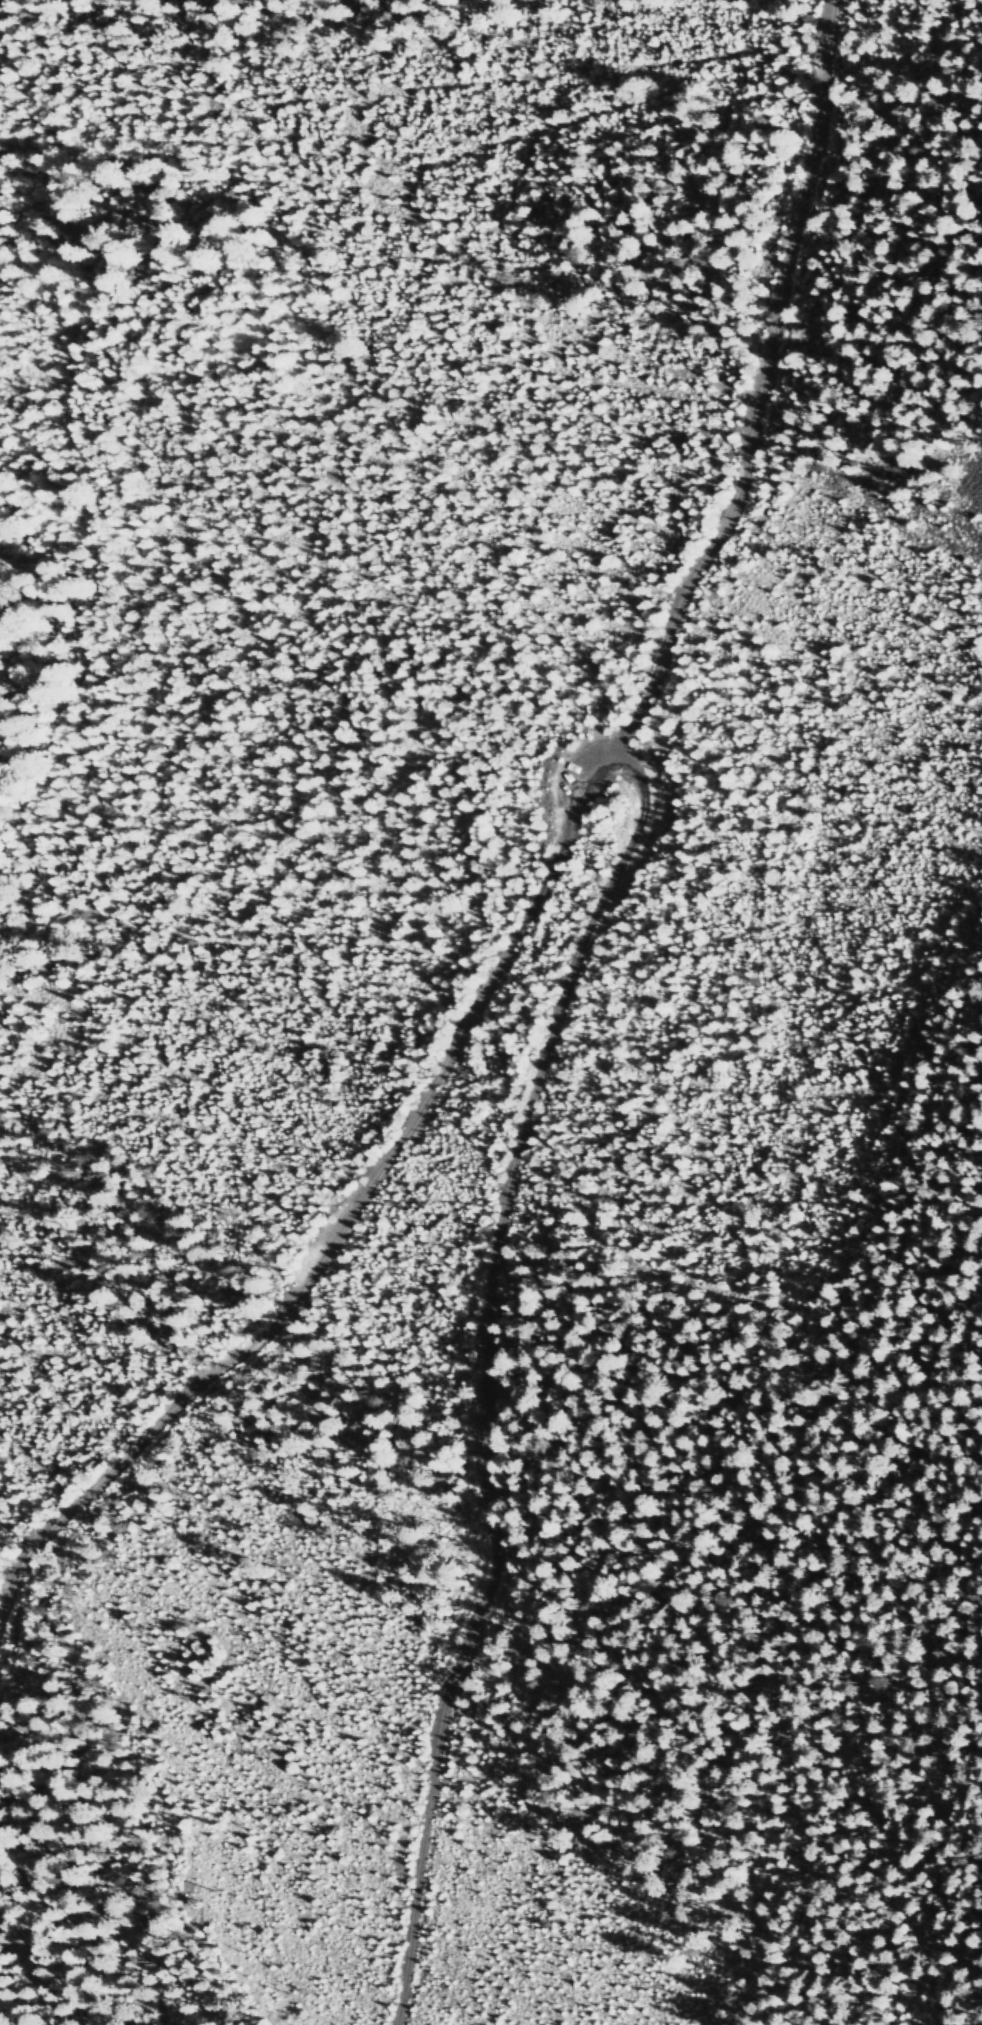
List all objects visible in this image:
road: (547, 878)
road: (491, 1377)

